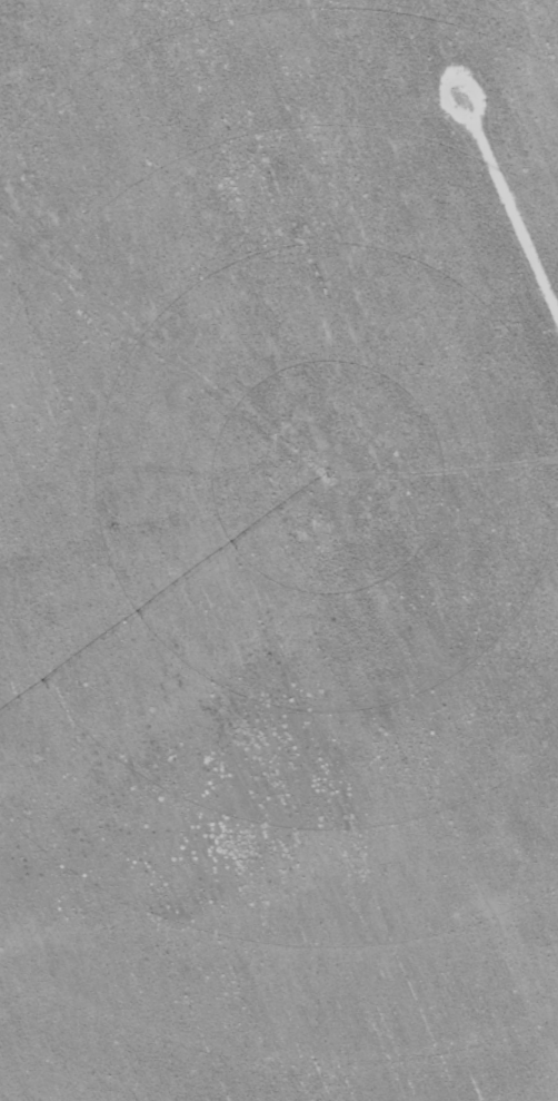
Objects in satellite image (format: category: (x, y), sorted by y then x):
road: (402, 88)

